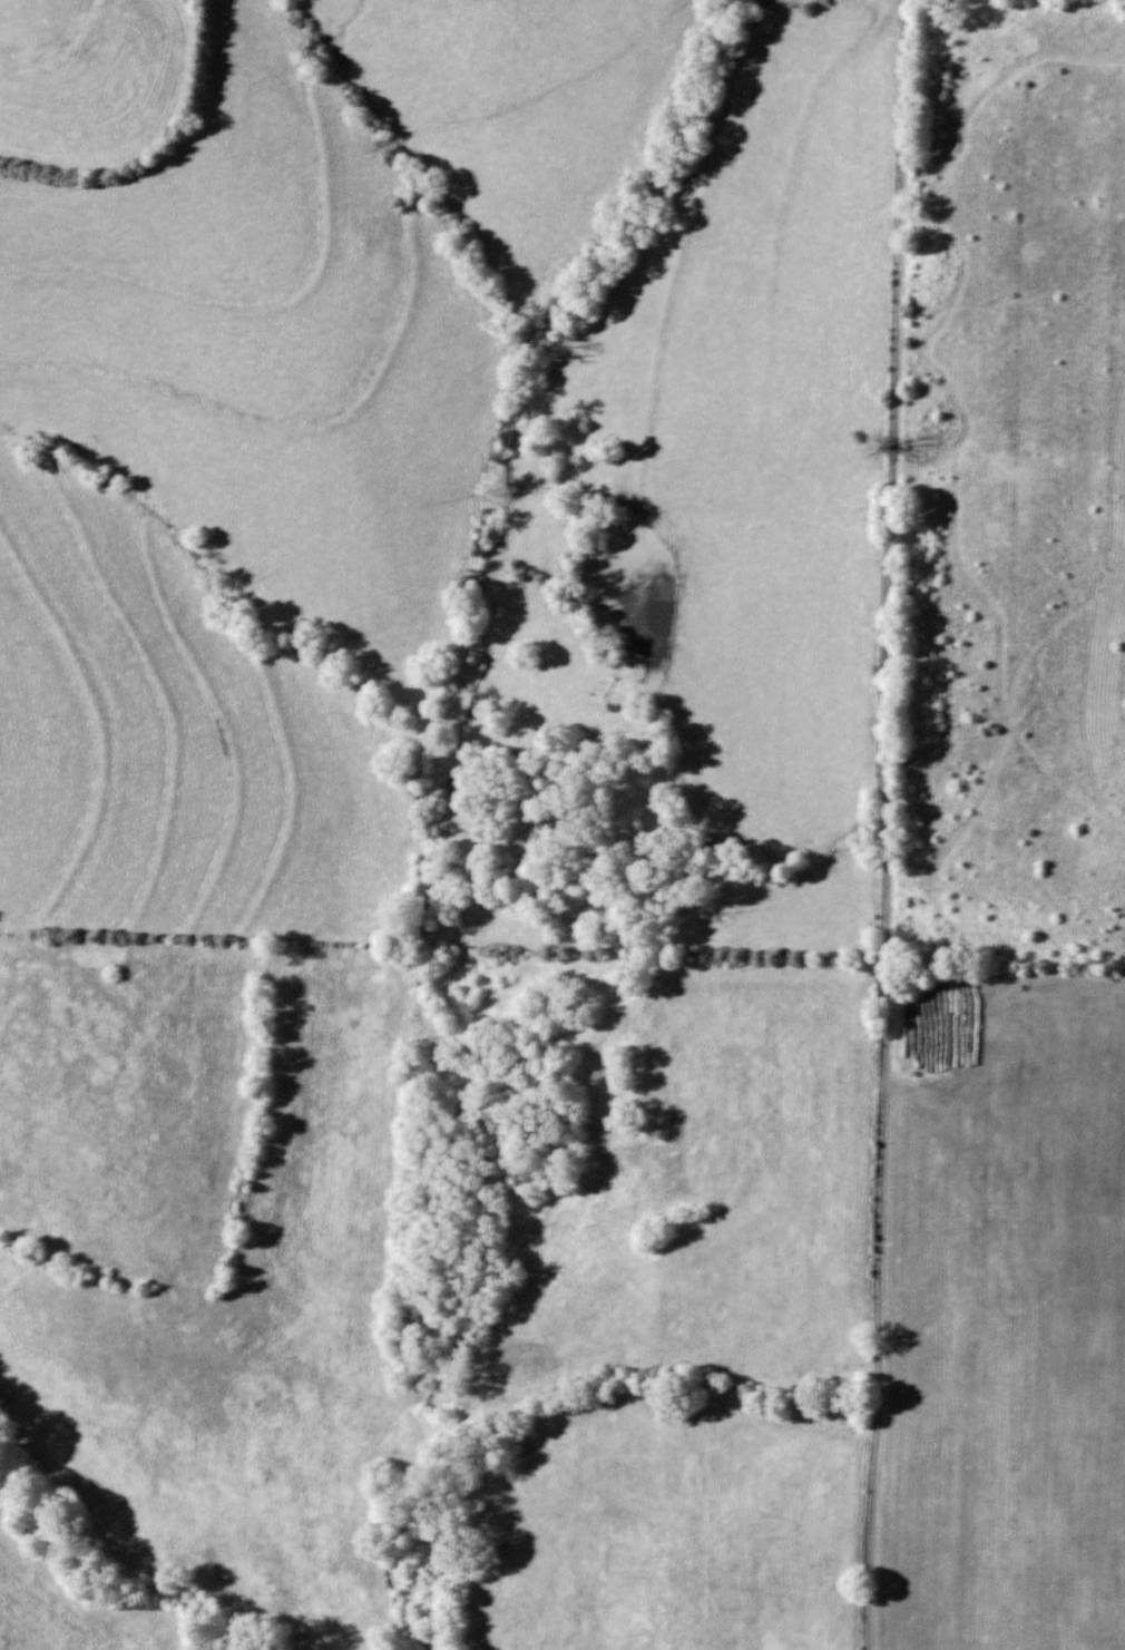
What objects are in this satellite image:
road: (904, 824)

